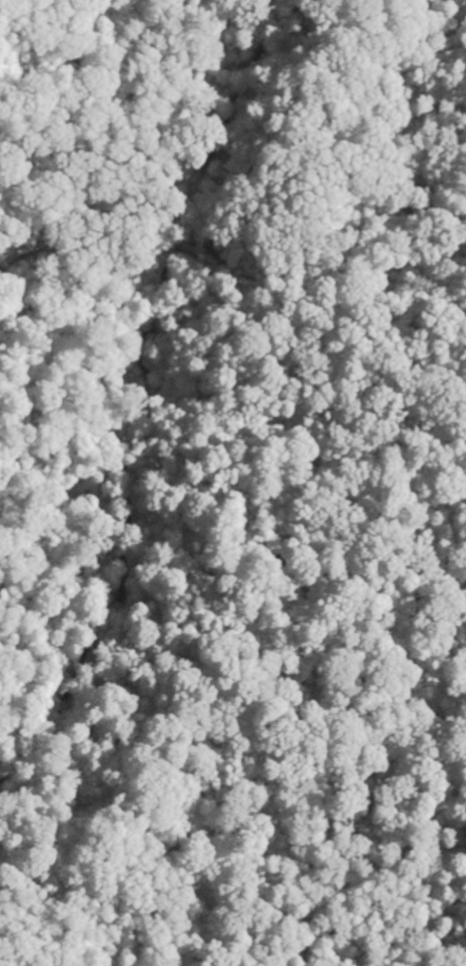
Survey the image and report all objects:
road: (390, 444)

